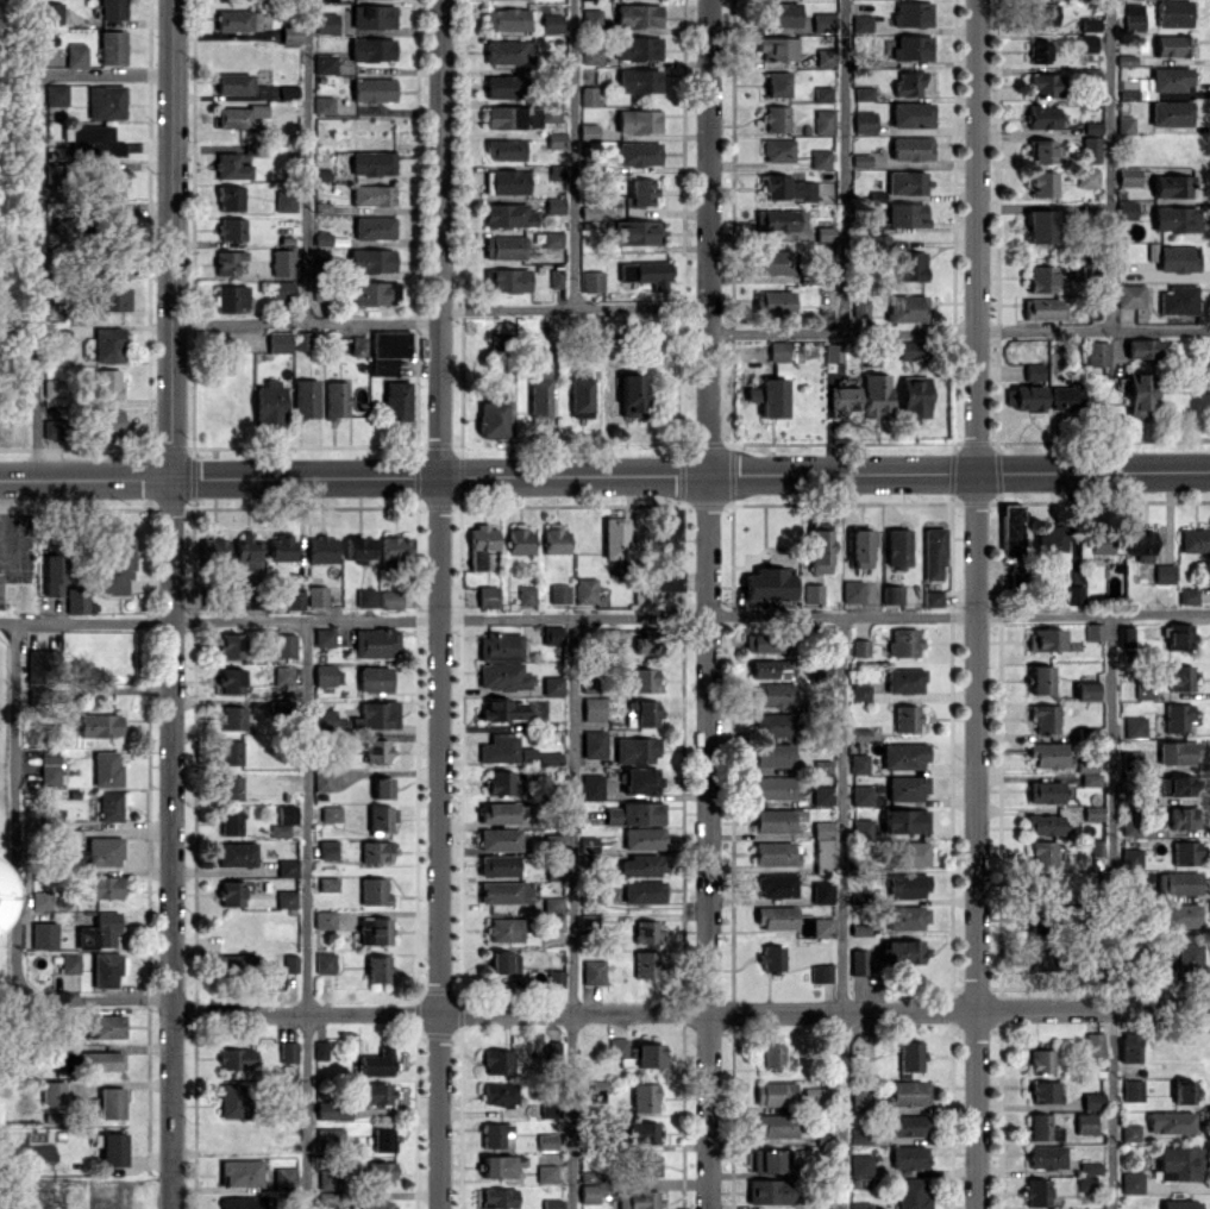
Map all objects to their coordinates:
building: (112, 8)
building: (50, 12)
building: (779, 13)
building: (911, 13)
building: (1172, 13)
building: (1041, 14)
building: (372, 15)
building: (638, 15)
building: (1133, 17)
building: (590, 18)
building: (506, 19)
building: (237, 20)
building: (822, 21)
building: (325, 23)
building: (551, 23)
building: (860, 23)
building: (1089, 24)
building: (290, 33)
building: (1085, 43)
building: (1171, 45)
building: (111, 46)
building: (638, 48)
building: (777, 48)
building: (911, 48)
building: (371, 49)
building: (1036, 50)
building: (508, 51)
building: (75, 56)
building: (825, 56)
building: (324, 63)
road: (101, 74)
building: (1089, 76)
building: (638, 80)
building: (1149, 80)
building: (233, 83)
building: (777, 83)
building: (907, 83)
building: (1043, 83)
building: (503, 86)
building: (372, 89)
building: (288, 90)
building: (863, 93)
building: (54, 94)
building: (587, 95)
building: (105, 101)
building: (322, 105)
building: (550, 111)
building: (1170, 112)
building: (909, 114)
building: (237, 115)
building: (510, 117)
building: (1041, 117)
building: (776, 118)
building: (638, 121)
building: (822, 121)
building: (863, 121)
building: (1123, 124)
building: (1091, 126)
building: (588, 131)
building: (554, 139)
building: (94, 140)
building: (910, 148)
building: (509, 149)
building: (1090, 149)
building: (777, 150)
building: (1041, 151)
road: (572, 154)
building: (638, 154)
building: (819, 158)
road: (305, 161)
building: (371, 162)
road: (1108, 164)
building: (231, 165)
road: (842, 165)
building: (556, 171)
building: (1128, 175)
building: (1086, 177)
building: (506, 181)
building: (109, 182)
building: (905, 182)
building: (1041, 183)
building: (1171, 186)
building: (786, 188)
building: (641, 190)
building: (371, 195)
building: (227, 198)
building: (284, 201)
building: (553, 205)
building: (1124, 209)
building: (508, 214)
building: (904, 214)
building: (1174, 218)
building: (777, 220)
building: (121, 223)
building: (1039, 226)
building: (374, 227)
building: (231, 228)
building: (823, 230)
building: (637, 232)
building: (321, 238)
building: (551, 239)
building: (503, 246)
building: (1177, 258)
building: (371, 259)
building: (230, 262)
building: (282, 262)
building: (772, 262)
building: (910, 265)
building: (119, 271)
building: (645, 273)
road: (33, 276)
building: (554, 277)
building: (1040, 278)
building: (507, 280)
building: (591, 281)
building: (282, 290)
building: (372, 293)
building: (1129, 295)
building: (231, 296)
building: (114, 299)
building: (1177, 300)
building: (773, 302)
road: (572, 306)
building: (904, 307)
building: (1042, 308)
road: (305, 322)
building: (608, 324)
road: (958, 331)
building: (302, 340)
building: (500, 340)
building: (278, 342)
building: (390, 343)
building: (107, 344)
building: (357, 345)
building: (1142, 347)
building: (910, 349)
building: (777, 350)
building: (1096, 352)
building: (833, 356)
building: (383, 365)
building: (1033, 372)
building: (107, 384)
building: (51, 387)
building: (631, 394)
building: (1139, 394)
building: (540, 395)
building: (874, 395)
building: (579, 396)
building: (913, 396)
building: (1023, 396)
building: (305, 397)
building: (771, 397)
building: (1065, 397)
building: (336, 399)
building: (842, 399)
building: (396, 400)
building: (268, 403)
building: (491, 414)
building: (107, 422)
building: (50, 428)
road: (604, 474)
building: (1009, 528)
building: (519, 539)
building: (554, 539)
building: (616, 539)
building: (1048, 539)
building: (1193, 539)
building: (1139, 541)
building: (479, 545)
building: (281, 546)
building: (858, 547)
building: (896, 547)
building: (321, 549)
building: (358, 549)
building: (214, 550)
building: (246, 550)
building: (819, 550)
building: (669, 553)
building: (930, 553)
building: (114, 564)
building: (54, 572)
building: (1162, 574)
building: (769, 583)
building: (585, 589)
building: (851, 590)
building: (811, 593)
building: (558, 594)
building: (891, 594)
building: (1073, 594)
building: (316, 595)
building: (525, 595)
building: (1186, 595)
building: (487, 596)
building: (365, 597)
building: (932, 597)
building: (294, 599)
building: (389, 599)
building: (70, 600)
road: (169, 603)
road: (439, 603)
road: (707, 603)
road: (976, 603)
road: (604, 616)
building: (1092, 631)
building: (552, 634)
building: (1124, 635)
building: (1178, 635)
building: (324, 637)
building: (1043, 639)
building: (764, 641)
building: (902, 641)
building: (375, 643)
building: (230, 645)
building: (283, 646)
building: (499, 646)
building: (859, 647)
building: (36, 663)
building: (502, 676)
building: (1179, 677)
building: (374, 678)
building: (230, 679)
building: (641, 679)
building: (1039, 679)
building: (903, 681)
building: (551, 684)
building: (1084, 690)
building: (1143, 690)
building: (859, 691)
building: (772, 694)
building: (593, 708)
building: (502, 709)
building: (645, 713)
building: (232, 716)
building: (1175, 716)
building: (905, 718)
building: (1043, 718)
building: (324, 719)
building: (98, 725)
building: (772, 725)
building: (1134, 727)
building: (859, 733)
building: (594, 743)
building: (635, 748)
building: (376, 750)
building: (230, 751)
building: (513, 752)
building: (1177, 752)
building: (1048, 754)
building: (772, 756)
building: (902, 756)
building: (1130, 758)
building: (857, 763)
building: (821, 765)
building: (49, 768)
building: (106, 769)
building: (322, 779)
building: (1089, 779)
building: (641, 781)
building: (502, 783)
building: (593, 784)
building: (1174, 784)
building: (230, 787)
building: (381, 787)
building: (773, 788)
building: (904, 788)
building: (1045, 791)
building: (821, 795)
building: (860, 795)
building: (108, 806)
building: (497, 812)
building: (1092, 812)
building: (330, 813)
building: (634, 813)
building: (1181, 816)
building: (387, 818)
building: (776, 819)
building: (283, 820)
building: (903, 820)
building: (231, 822)
building: (1043, 823)
building: (1129, 825)
building: (821, 828)
building: (861, 828)
building: (644, 838)
building: (499, 839)
building: (587, 844)
building: (102, 850)
building: (376, 851)
building: (326, 852)
building: (1045, 852)
building: (1184, 852)
building: (236, 853)
building: (773, 853)
building: (908, 853)
building: (822, 854)
building: (1130, 857)
building: (497, 865)
building: (640, 865)
building: (287, 867)
road: (14, 881)
building: (1177, 882)
building: (327, 883)
building: (1041, 884)
building: (102, 885)
building: (775, 885)
building: (905, 885)
building: (375, 891)
building: (504, 891)
building: (637, 891)
building: (231, 892)
building: (820, 892)
building: (286, 898)
building: (40, 900)
road: (1111, 910)
road: (840, 912)
road: (571, 913)
road: (306, 914)
building: (1180, 915)
building: (775, 917)
building: (907, 917)
building: (324, 919)
building: (589, 921)
building: (554, 922)
building: (106, 927)
building: (821, 927)
building: (504, 928)
building: (374, 931)
building: (645, 931)
building: (44, 934)
building: (901, 951)
building: (770, 957)
building: (1162, 957)
building: (1187, 957)
building: (1036, 958)
building: (237, 961)
building: (284, 961)
building: (325, 961)
building: (503, 961)
building: (857, 961)
building: (69, 963)
building: (646, 964)
building: (377, 967)
building: (105, 969)
building: (593, 971)
building: (820, 972)
building: (556, 978)
road: (690, 1013)
building: (107, 1026)
building: (1093, 1044)
building: (1128, 1045)
building: (616, 1046)
building: (320, 1050)
building: (550, 1051)
building: (647, 1054)
building: (771, 1055)
building: (909, 1055)
building: (234, 1058)
building: (518, 1059)
building: (89, 1060)
building: (1040, 1060)
building: (496, 1061)
building: (376, 1063)
building: (1131, 1090)
building: (52, 1091)
building: (1043, 1091)
building: (1183, 1091)
building: (378, 1092)
building: (499, 1092)
building: (773, 1092)
building: (908, 1092)
building: (809, 1094)
building: (642, 1097)
building: (232, 1100)
building: (857, 1100)
building: (1091, 1100)
building: (111, 1102)
building: (548, 1109)
building: (333, 1111)
building: (1170, 1121)
building: (1084, 1122)
building: (775, 1125)
building: (904, 1125)
building: (1041, 1127)
building: (641, 1132)
building: (1129, 1132)
building: (494, 1134)
building: (330, 1139)
building: (382, 1139)
building: (546, 1141)
building: (112, 1148)
building: (908, 1157)
building: (1045, 1157)
building: (770, 1160)
building: (1178, 1163)
building: (860, 1164)
building: (645, 1165)
building: (497, 1166)
building: (1089, 1167)
building: (382, 1171)
building: (545, 1172)
building: (240, 1173)
building: (284, 1177)
building: (328, 1178)
building: (1130, 1182)
building: (588, 1186)
building: (769, 1191)
building: (1036, 1192)
building: (910, 1194)
building: (497, 1197)
building: (326, 1199)
building: (638, 1199)
building: (242, 1202)
building: (551, 1203)
building: (376, 1204)
building: (859, 1204)
building: (1179, 1204)

